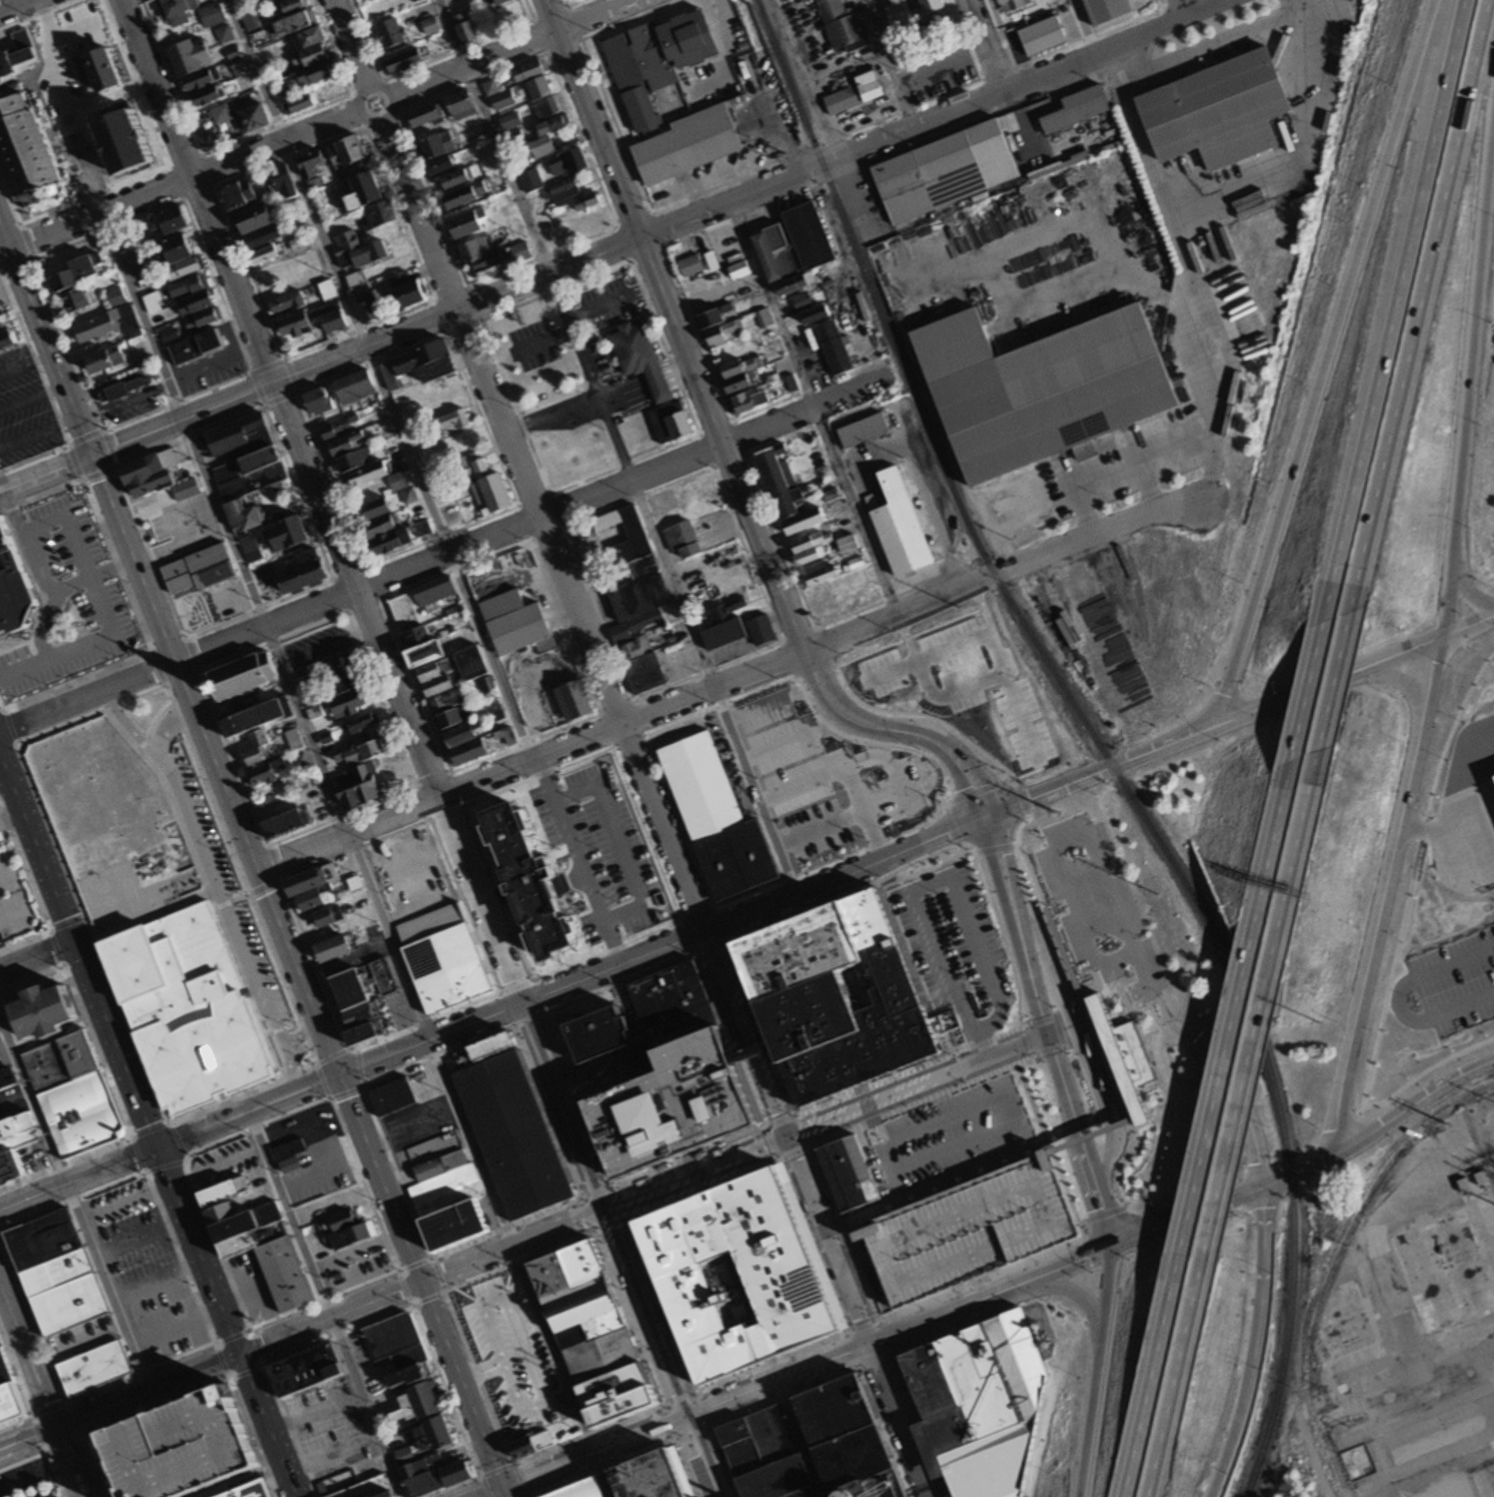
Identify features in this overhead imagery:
road: (564, 2)
road: (569, 2)
road: (1165, 3)
building: (1013, 4)
building: (928, 5)
road: (15, 6)
road: (1182, 8)
road: (528, 9)
building: (1108, 10)
building: (897, 11)
road: (627, 19)
building: (934, 24)
building: (842, 25)
road: (1080, 26)
road: (1000, 33)
building: (1044, 36)
road: (578, 38)
road: (963, 40)
road: (350, 44)
road: (985, 44)
road: (1202, 46)
road: (510, 48)
building: (904, 50)
road: (725, 51)
building: (653, 60)
road: (886, 63)
road: (940, 64)
parking lot: (937, 71)
road: (803, 78)
flagpole: (605, 86)
building: (854, 92)
building: (1073, 107)
road: (906, 109)
building: (1220, 110)
road: (931, 117)
road: (381, 119)
road: (614, 124)
road: (780, 133)
road: (496, 135)
road: (580, 138)
building: (687, 144)
road: (1303, 148)
power tower: (783, 153)
building: (944, 172)
road: (709, 175)
road: (180, 182)
road: (197, 191)
road: (655, 230)
road: (700, 233)
building: (805, 234)
traffic signals: (640, 235)
building: (776, 250)
building: (709, 259)
road: (627, 261)
building: (689, 263)
building: (737, 268)
road: (1194, 273)
building: (793, 285)
road: (9, 291)
building: (800, 298)
road: (1424, 306)
road: (1011, 307)
road: (1389, 310)
road: (594, 311)
building: (812, 313)
building: (711, 314)
power tower: (846, 314)
building: (762, 315)
road: (675, 324)
building: (719, 331)
road: (697, 333)
road: (363, 345)
building: (831, 345)
building: (638, 361)
road: (1325, 361)
parking lot: (583, 363)
road: (23, 364)
building: (737, 365)
road: (590, 374)
building: (767, 377)
road: (381, 378)
road: (1469, 379)
building: (740, 380)
building: (789, 382)
road: (620, 387)
building: (1040, 387)
road: (155, 390)
road: (299, 392)
road: (48, 393)
road: (622, 393)
building: (747, 397)
road: (29, 399)
road: (625, 400)
road: (770, 403)
road: (815, 405)
road: (604, 413)
road: (502, 420)
building: (676, 423)
building: (862, 428)
road: (36, 433)
traffic signals: (88, 456)
power tower: (905, 459)
road: (729, 460)
road: (1147, 460)
road: (113, 467)
building: (772, 468)
road: (43, 470)
road: (1145, 487)
building: (830, 492)
building: (785, 495)
road: (925, 496)
road: (515, 506)
building: (784, 508)
road: (555, 510)
road: (1084, 511)
building: (801, 519)
building: (897, 524)
building: (637, 537)
building: (687, 539)
building: (807, 539)
building: (847, 542)
road: (128, 553)
road: (440, 554)
building: (810, 555)
building: (852, 562)
building: (199, 570)
road: (1003, 570)
building: (819, 575)
road: (795, 576)
road: (42, 577)
road: (333, 579)
road: (672, 582)
building: (15, 587)
road: (356, 587)
road: (1465, 587)
road: (131, 602)
road: (100, 607)
power tower: (956, 609)
building: (404, 613)
parking lot: (106, 615)
road: (43, 624)
building: (516, 625)
road: (1469, 626)
road: (799, 632)
road: (909, 636)
road: (324, 647)
road: (191, 655)
road: (928, 655)
road: (999, 655)
road: (916, 659)
building: (430, 663)
road: (158, 668)
road: (814, 671)
building: (239, 675)
parking lot: (965, 681)
road: (1339, 681)
road: (715, 685)
road: (1308, 692)
road: (630, 699)
building: (449, 701)
road: (225, 703)
road: (812, 705)
road: (755, 707)
building: (253, 712)
road: (597, 712)
road: (1019, 712)
road: (598, 713)
road: (925, 713)
building: (461, 716)
road: (157, 718)
road: (1213, 724)
road: (301, 725)
road: (10, 727)
road: (127, 727)
road: (897, 729)
building: (504, 734)
railway: (1095, 736)
road: (628, 741)
road: (144, 744)
road: (776, 746)
building: (467, 749)
road: (531, 757)
parking lot: (825, 766)
road: (1031, 771)
road: (449, 772)
building: (1493, 776)
road: (803, 784)
road: (415, 785)
road: (754, 788)
road: (1468, 790)
road: (169, 796)
road: (957, 799)
road: (1019, 799)
road: (421, 802)
road: (877, 804)
road: (463, 806)
road: (864, 811)
road: (445, 812)
power tower: (1057, 814)
traffic signals: (983, 815)
road: (9, 816)
building: (714, 816)
road: (925, 817)
road: (664, 824)
road: (346, 829)
parking lot: (816, 829)
road: (1443, 834)
road: (1036, 839)
road: (1086, 839)
road: (618, 842)
parking lot: (600, 847)
road: (997, 849)
road: (996, 850)
road: (1269, 856)
road: (573, 860)
road: (271, 861)
parking lot: (408, 865)
road: (1297, 865)
traffic signals: (255, 866)
road: (5, 868)
road: (413, 876)
building: (310, 877)
building: (526, 877)
road: (281, 878)
building: (353, 881)
road: (884, 884)
road: (899, 885)
road: (262, 886)
road: (928, 889)
parking lot: (226, 892)
road: (219, 894)
road: (221, 894)
road: (236, 894)
road: (36, 895)
road: (480, 896)
power tower: (1160, 896)
park: (113, 897)
building: (311, 897)
road: (1384, 898)
parking lot: (13, 899)
road: (727, 900)
road: (427, 902)
parking lot: (1097, 904)
road: (714, 906)
road: (83, 916)
building: (325, 916)
road: (13, 917)
road: (145, 923)
road: (1000, 929)
parking lot: (951, 940)
traffic signals: (73, 943)
road: (660, 944)
building: (330, 946)
road: (1397, 947)
road: (58, 948)
road: (77, 953)
building: (441, 956)
road: (36, 957)
road: (296, 969)
road: (913, 973)
building: (382, 975)
parking lot: (1456, 979)
building: (350, 987)
road: (248, 988)
building: (1078, 991)
building: (833, 995)
road: (1395, 1000)
building: (671, 1004)
building: (189, 1008)
parking lot: (399, 1008)
building: (51, 1012)
road: (543, 1013)
building: (359, 1014)
road: (1082, 1014)
road: (0, 1015)
road: (634, 1015)
road: (1038, 1019)
road: (760, 1021)
power tower: (1313, 1022)
road: (548, 1025)
road: (1074, 1025)
flagpole: (288, 1026)
road: (1062, 1028)
building: (362, 1030)
road: (746, 1031)
road: (1076, 1031)
building: (593, 1032)
road: (1048, 1034)
road: (302, 1035)
road: (730, 1039)
road: (1192, 1044)
building: (489, 1046)
building: (1120, 1055)
road: (1034, 1056)
road: (1024, 1060)
building: (60, 1061)
building: (623, 1062)
traffic signals: (338, 1073)
road: (1171, 1076)
road: (360, 1083)
road: (918, 1084)
road: (112, 1086)
building: (10, 1095)
building: (392, 1095)
road: (864, 1097)
road: (1214, 1102)
road: (912, 1104)
road: (562, 1105)
building: (669, 1105)
road: (1407, 1106)
road: (247, 1110)
building: (81, 1113)
road: (797, 1116)
road: (1240, 1119)
parking lot: (416, 1122)
road: (1013, 1122)
road: (874, 1123)
road: (1340, 1123)
road: (1249, 1125)
power tower: (1450, 1125)
road: (412, 1128)
building: (16, 1129)
road: (308, 1129)
power substation: (1482, 1131)
parking lot: (949, 1132)
building: (510, 1133)
road: (1048, 1144)
traffic signals: (156, 1147)
flagpole: (1167, 1147)
road: (180, 1157)
road: (689, 1157)
road: (779, 1157)
flagpole: (1164, 1157)
road: (779, 1158)
parking lot: (224, 1162)
building: (440, 1162)
building: (10, 1165)
building: (333, 1165)
flagpole: (1162, 1166)
road: (218, 1167)
road: (695, 1171)
road: (696, 1172)
building: (845, 1172)
road: (1290, 1177)
road: (78, 1178)
road: (944, 1184)
building: (444, 1188)
road: (887, 1188)
building: (225, 1190)
road: (582, 1199)
road: (74, 1201)
road: (127, 1202)
road: (1101, 1214)
road: (623, 1217)
road: (1101, 1218)
building: (341, 1220)
road: (1184, 1220)
building: (453, 1223)
building: (242, 1225)
building: (967, 1227)
parking garage: (967, 1227)
road: (139, 1233)
building: (352, 1236)
road: (829, 1238)
road: (356, 1248)
traffic signals: (1112, 1249)
road: (197, 1250)
road: (850, 1252)
railway: (1330, 1258)
road: (430, 1259)
railway: (1298, 1261)
building: (563, 1265)
road: (153, 1268)
road: (1063, 1268)
building: (1447, 1269)
parking lot: (146, 1272)
road: (397, 1273)
building: (779, 1273)
building: (55, 1274)
road: (436, 1275)
building: (278, 1277)
road: (422, 1279)
road: (507, 1280)
road: (421, 1281)
road: (737, 1286)
road: (727, 1287)
road: (405, 1288)
road: (1068, 1289)
road: (467, 1295)
building: (577, 1300)
road: (325, 1303)
road: (643, 1312)
road: (898, 1313)
road: (941, 1314)
road: (381, 1316)
power substation: (1420, 1324)
road: (863, 1326)
building: (1348, 1327)
building: (588, 1328)
road: (953, 1329)
road: (179, 1333)
building: (396, 1341)
road: (214, 1342)
road: (523, 1342)
road: (78, 1347)
road: (1257, 1347)
road: (256, 1348)
parking lot: (514, 1350)
building: (598, 1354)
road: (27, 1357)
road: (876, 1359)
road: (223, 1362)
road: (766, 1362)
building: (4, 1367)
road: (481, 1368)
building: (93, 1369)
building: (311, 1373)
road: (1096, 1373)
road: (1152, 1375)
road: (1180, 1378)
road: (776, 1379)
road: (813, 1383)
road: (1356, 1390)
road: (24, 1391)
building: (613, 1392)
road: (185, 1394)
building: (11, 1402)
road: (120, 1402)
road: (662, 1403)
building: (980, 1405)
building: (428, 1407)
building: (838, 1410)
road: (316, 1412)
road: (897, 1419)
road: (706, 1423)
road: (269, 1425)
road: (515, 1425)
parking lot: (331, 1430)
road: (84, 1433)
building: (760, 1439)
building: (529, 1441)
building: (181, 1446)
parking garage: (181, 1446)
road: (45, 1451)
road: (593, 1451)
road: (634, 1454)
road: (335, 1456)
road: (700, 1456)
building: (856, 1457)
road: (79, 1460)
road: (60, 1463)
road: (504, 1468)
road: (29, 1471)
building: (433, 1474)
building: (653, 1476)
building: (351, 1477)
building: (779, 1478)
parking lot: (27, 1480)
building: (876, 1486)
traffic signals: (503, 1487)
building: (368, 1489)
building: (582, 1489)
building: (1454, 1489)
building: (251, 1490)
road: (491, 1492)
road: (505, 1492)
building: (803, 1493)

